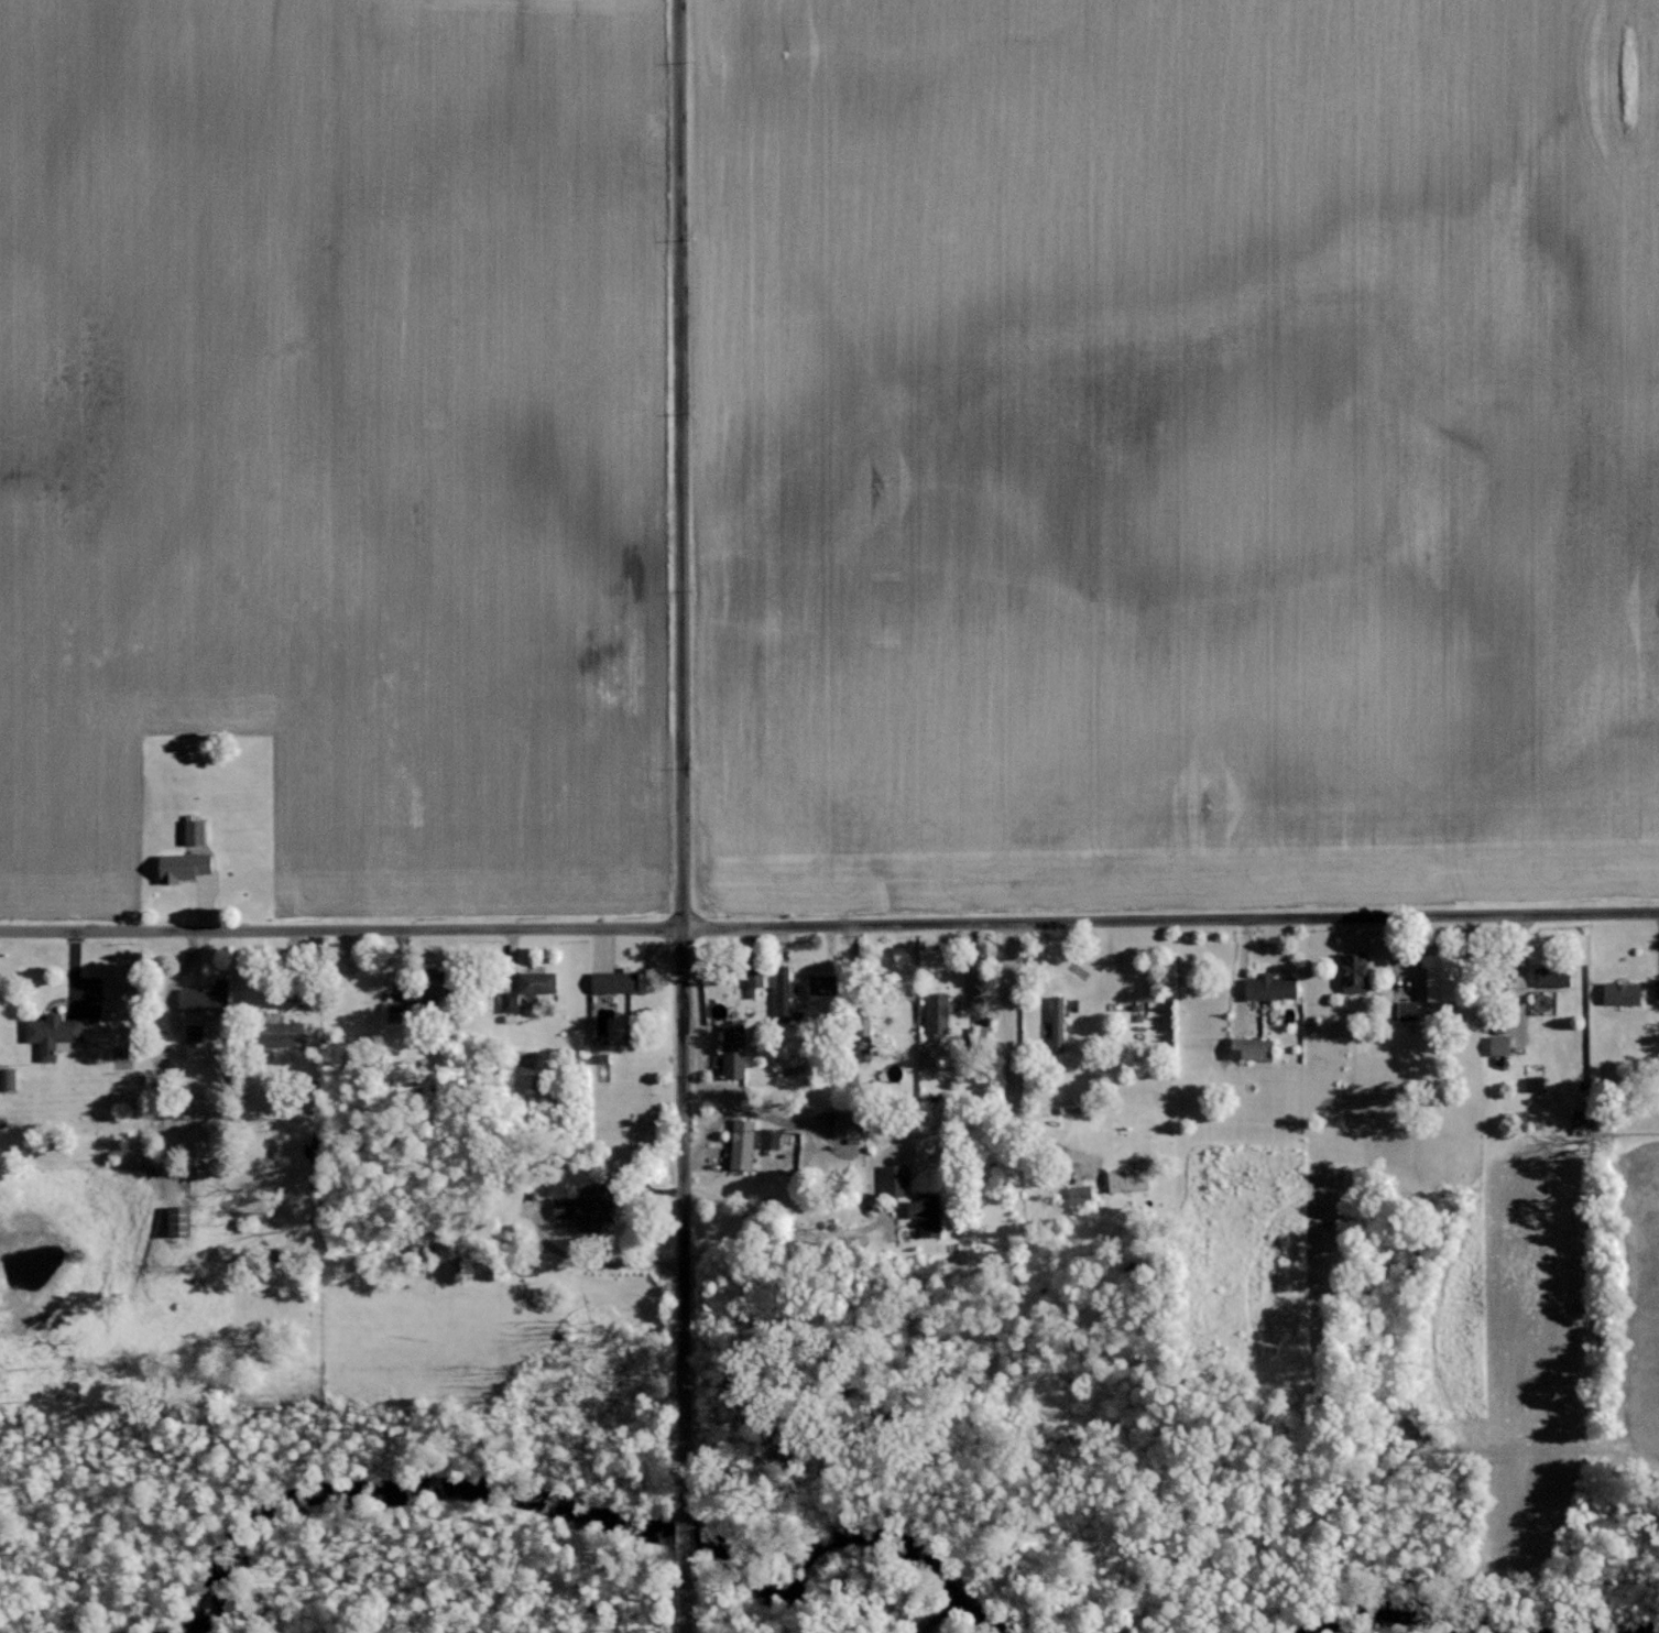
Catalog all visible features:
road: (680, 743)
building: (198, 831)
building: (187, 866)
road: (1170, 919)
road: (340, 927)
building: (1350, 971)
building: (1549, 975)
building: (1433, 977)
building: (619, 981)
building: (756, 981)
building: (541, 982)
building: (826, 984)
building: (1266, 986)
building: (1618, 993)
building: (1656, 993)
building: (209, 997)
building: (512, 1002)
building: (1402, 1010)
building: (941, 1016)
building: (1061, 1020)
building: (56, 1033)
building: (196, 1041)
building: (1496, 1044)
building: (738, 1050)
building: (12, 1078)
road: (998, 1110)
building: (850, 1126)
building: (772, 1139)
building: (745, 1144)
building: (1133, 1179)
building: (899, 1180)
building: (1084, 1195)
building: (566, 1208)
building: (600, 1208)
building: (931, 1213)
building: (185, 1221)
road: (597, 1261)
road: (684, 1547)
road: (684, 1621)

